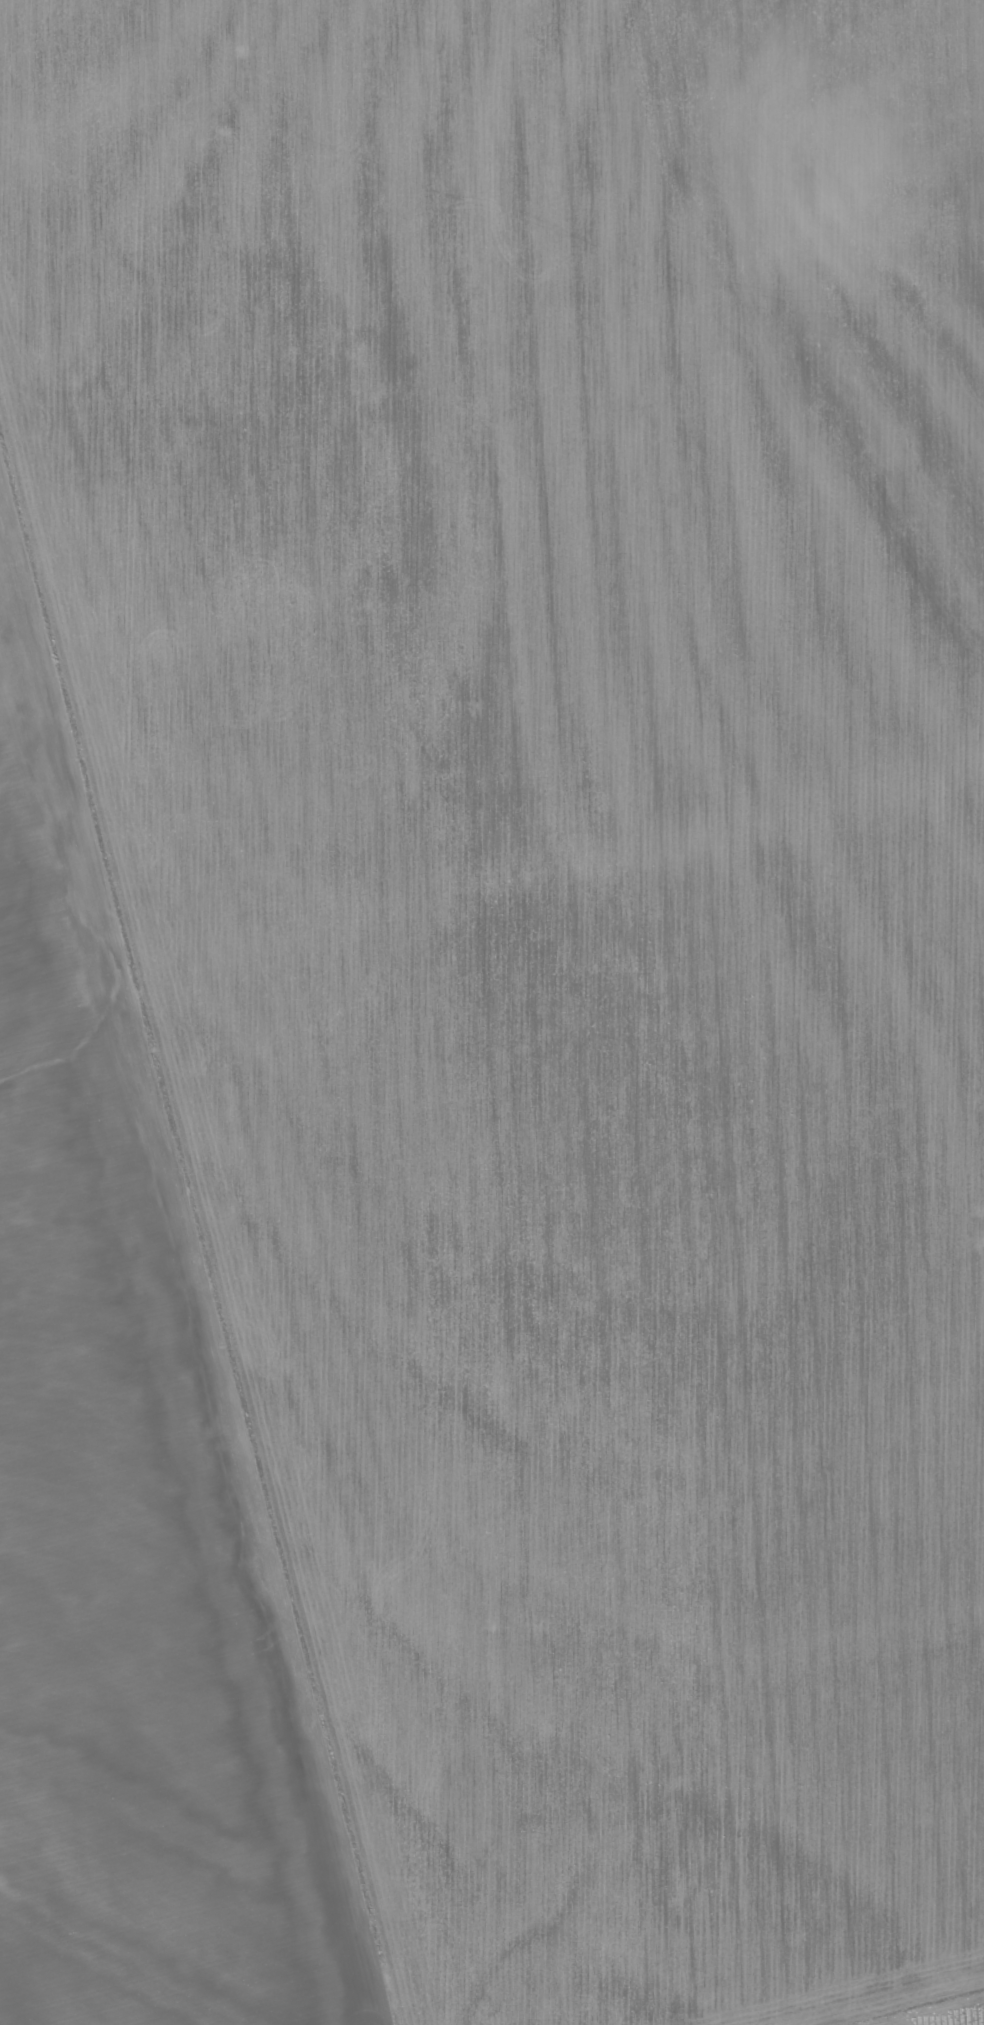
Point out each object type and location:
road: (216, 1211)

